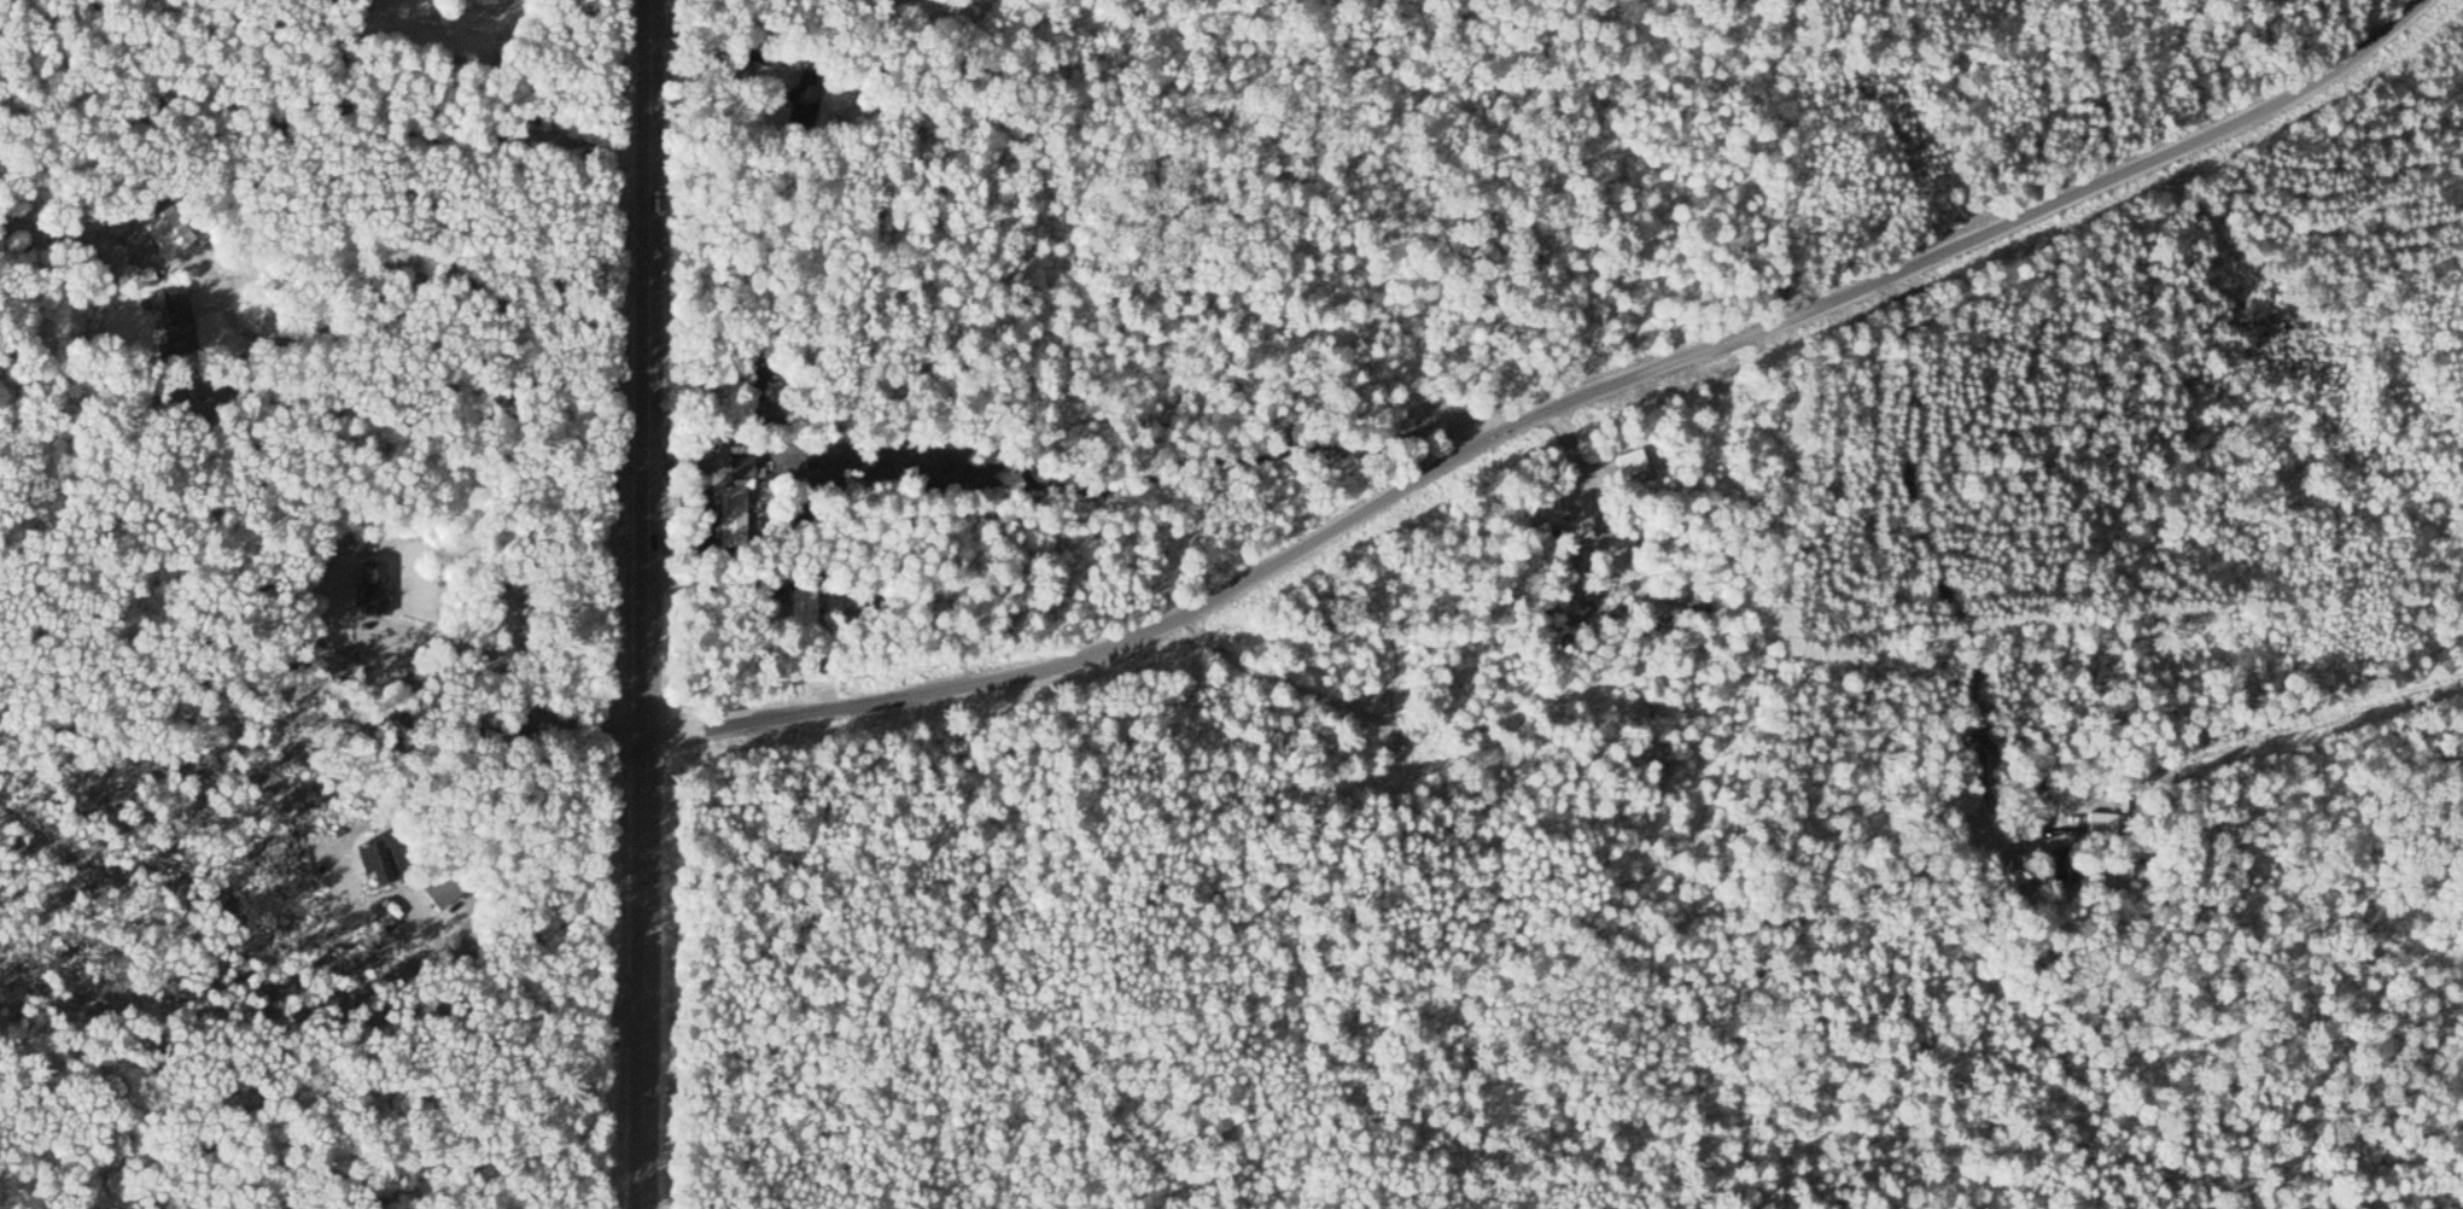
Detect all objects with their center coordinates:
building: (804, 101)
building: (167, 229)
building: (174, 325)
road: (1548, 410)
building: (734, 498)
building: (374, 586)
road: (647, 604)
building: (802, 606)
building: (1390, 752)
building: (2102, 824)
building: (369, 860)
building: (2065, 868)
building: (440, 888)

